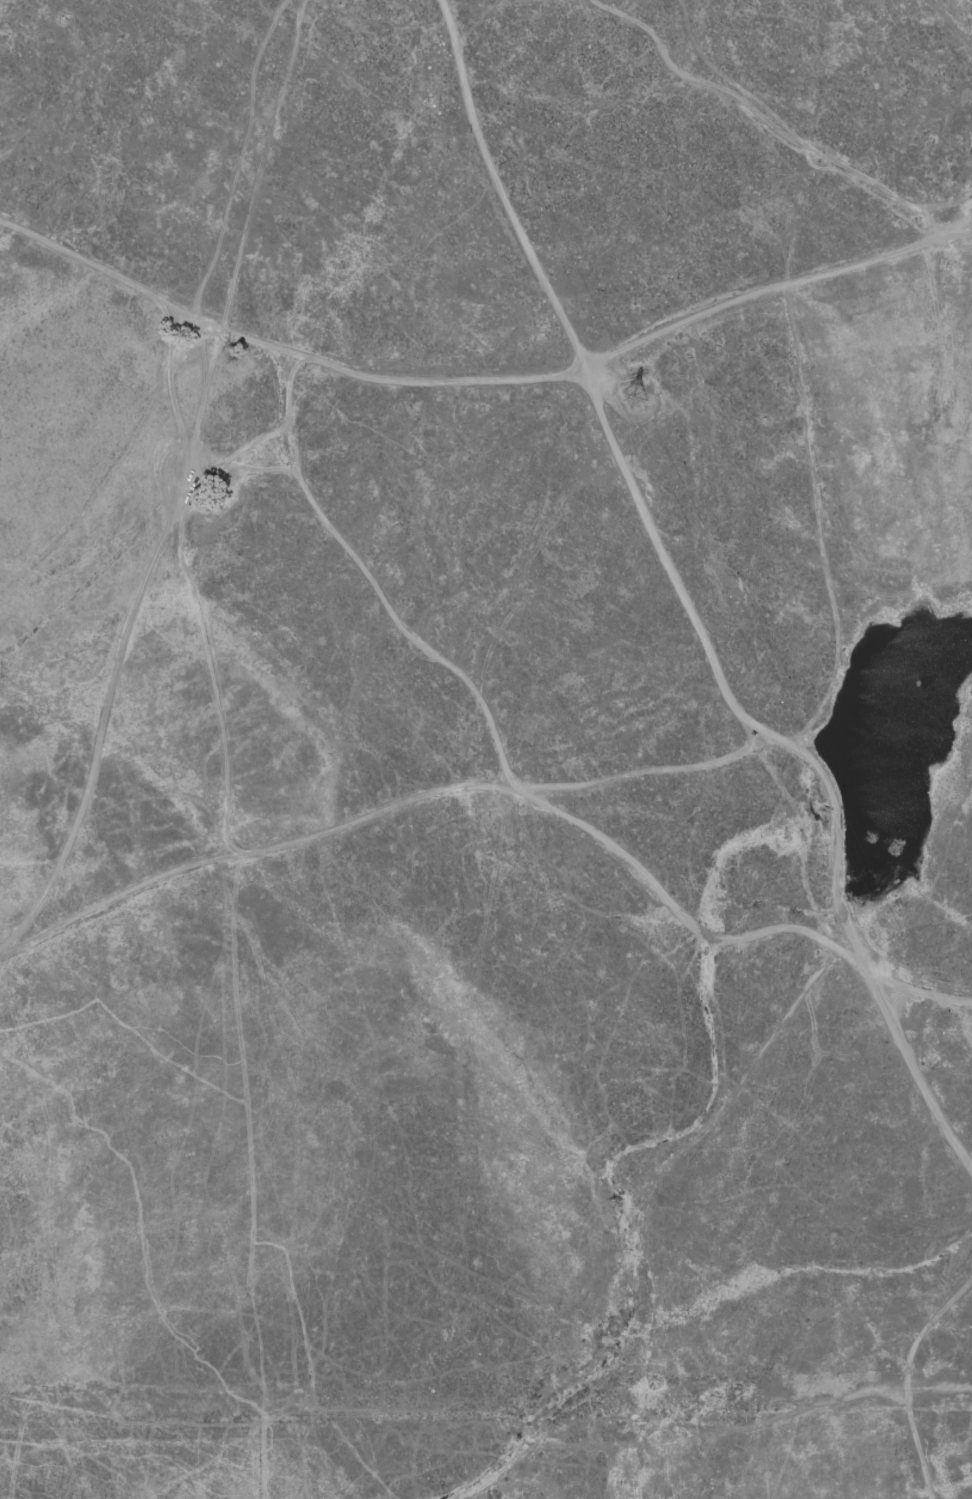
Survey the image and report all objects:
road: (950, 25)
road: (750, 106)
road: (237, 160)
road: (921, 201)
road: (899, 247)
road: (483, 380)
road: (592, 381)
power tower: (650, 384)
road: (572, 782)
road: (251, 853)
road: (674, 913)
road: (923, 1083)
road: (902, 1378)
road: (63, 1476)

